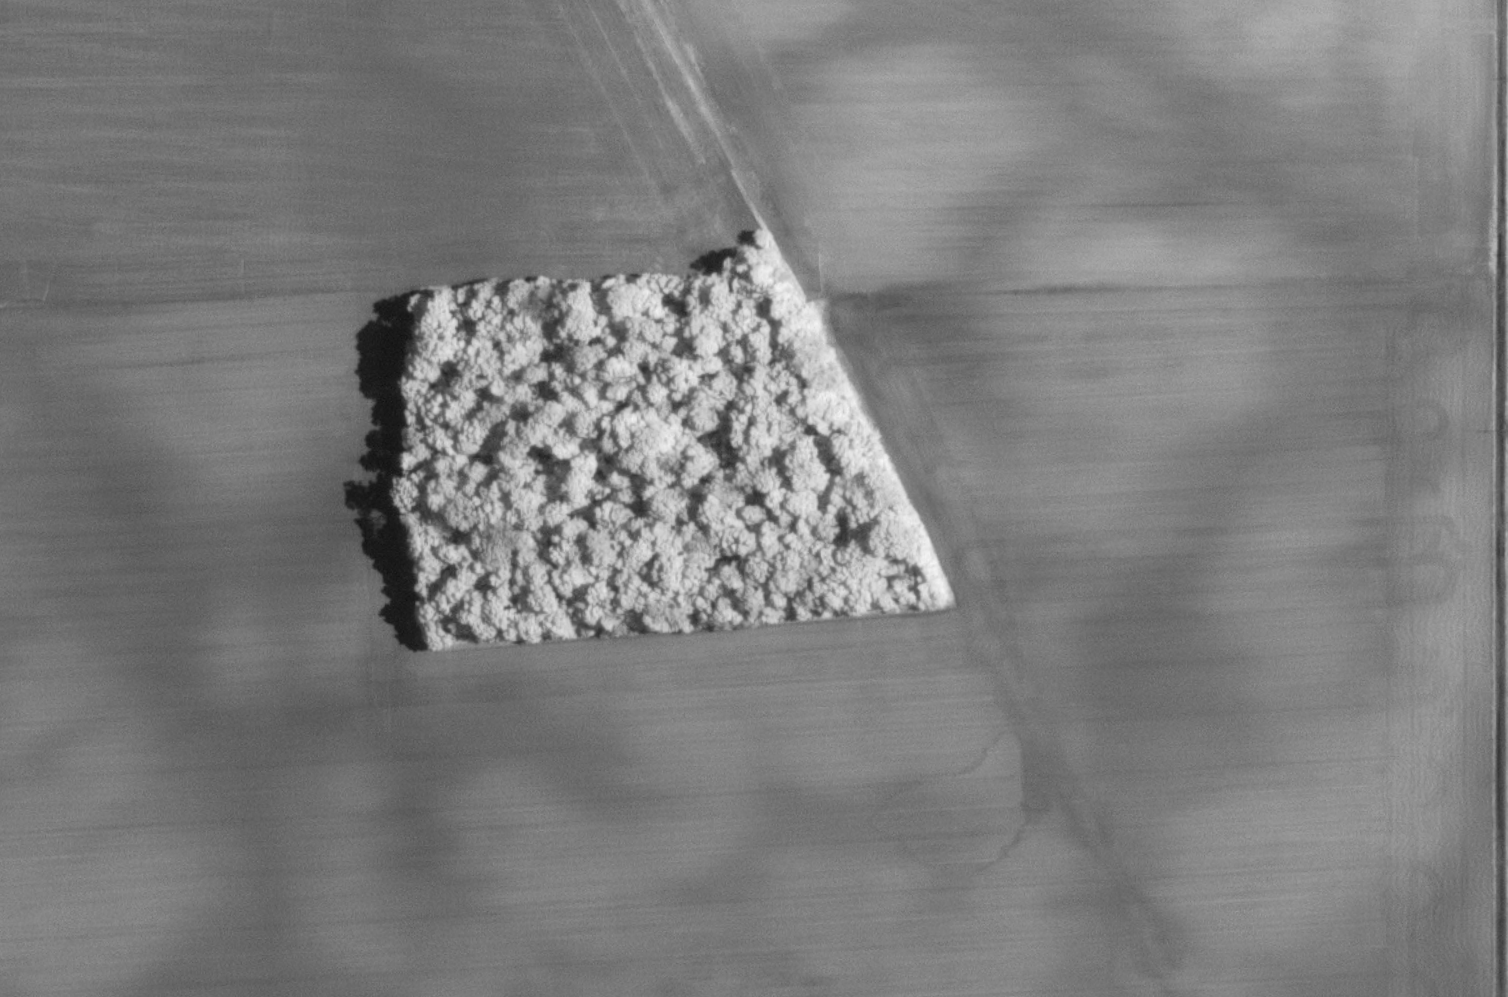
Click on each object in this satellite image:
road: (1497, 498)

